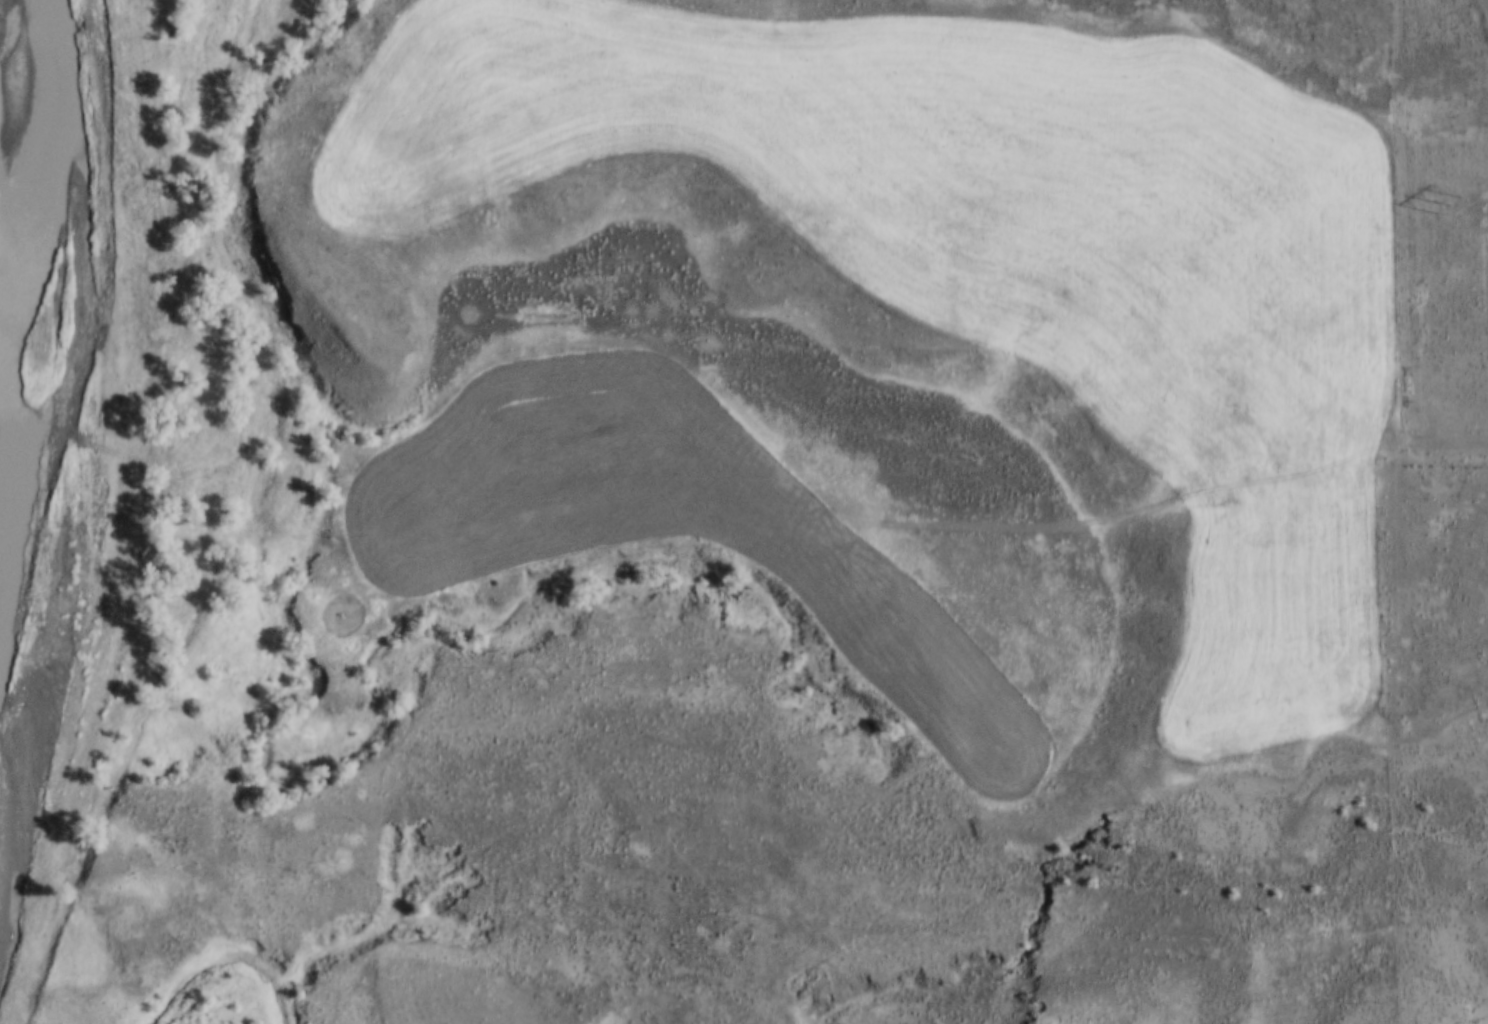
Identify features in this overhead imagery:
road: (1485, 8)
power tower: (1455, 206)
river: (25, 277)
river: (224, 964)

